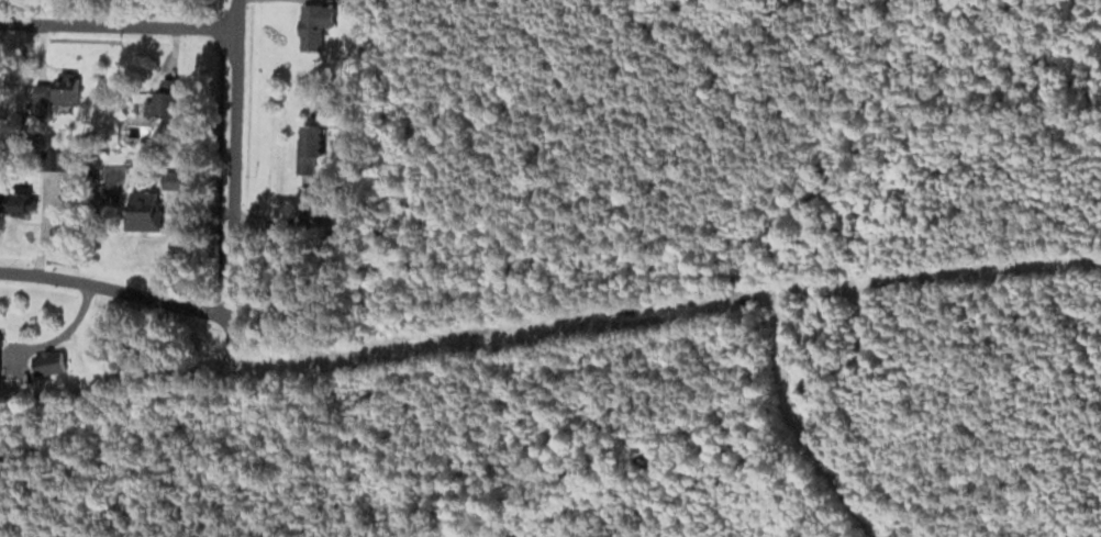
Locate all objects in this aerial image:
building: (353, 3)
building: (313, 23)
road: (119, 26)
building: (65, 93)
building: (163, 104)
building: (309, 147)
road: (232, 161)
building: (111, 176)
building: (141, 210)
road: (115, 291)
building: (47, 362)

